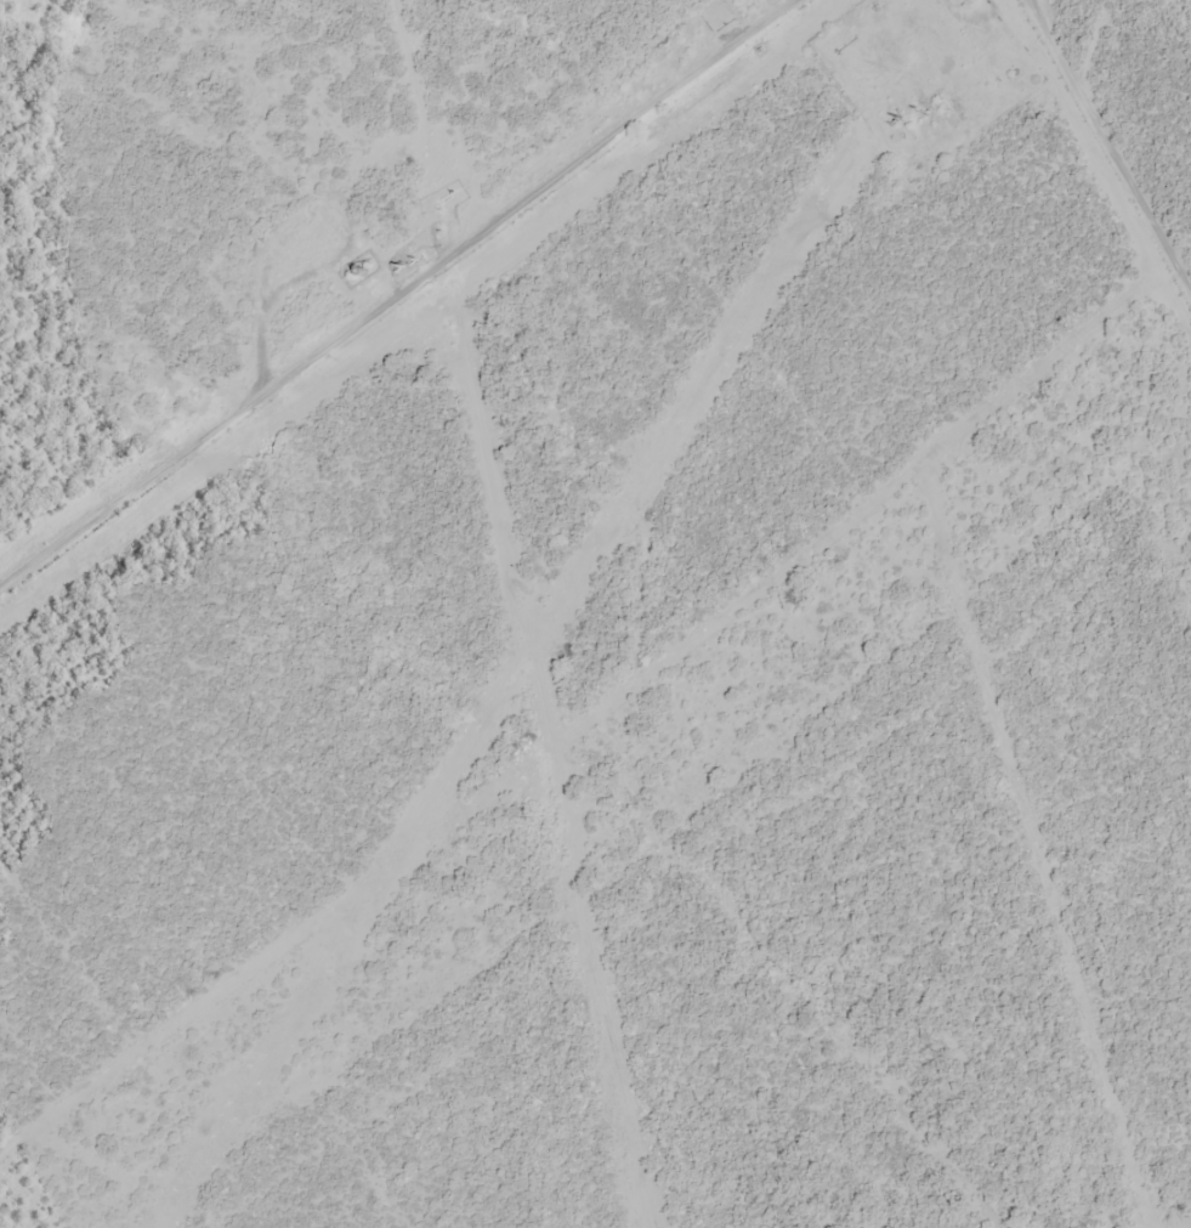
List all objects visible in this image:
road: (528, 514)

